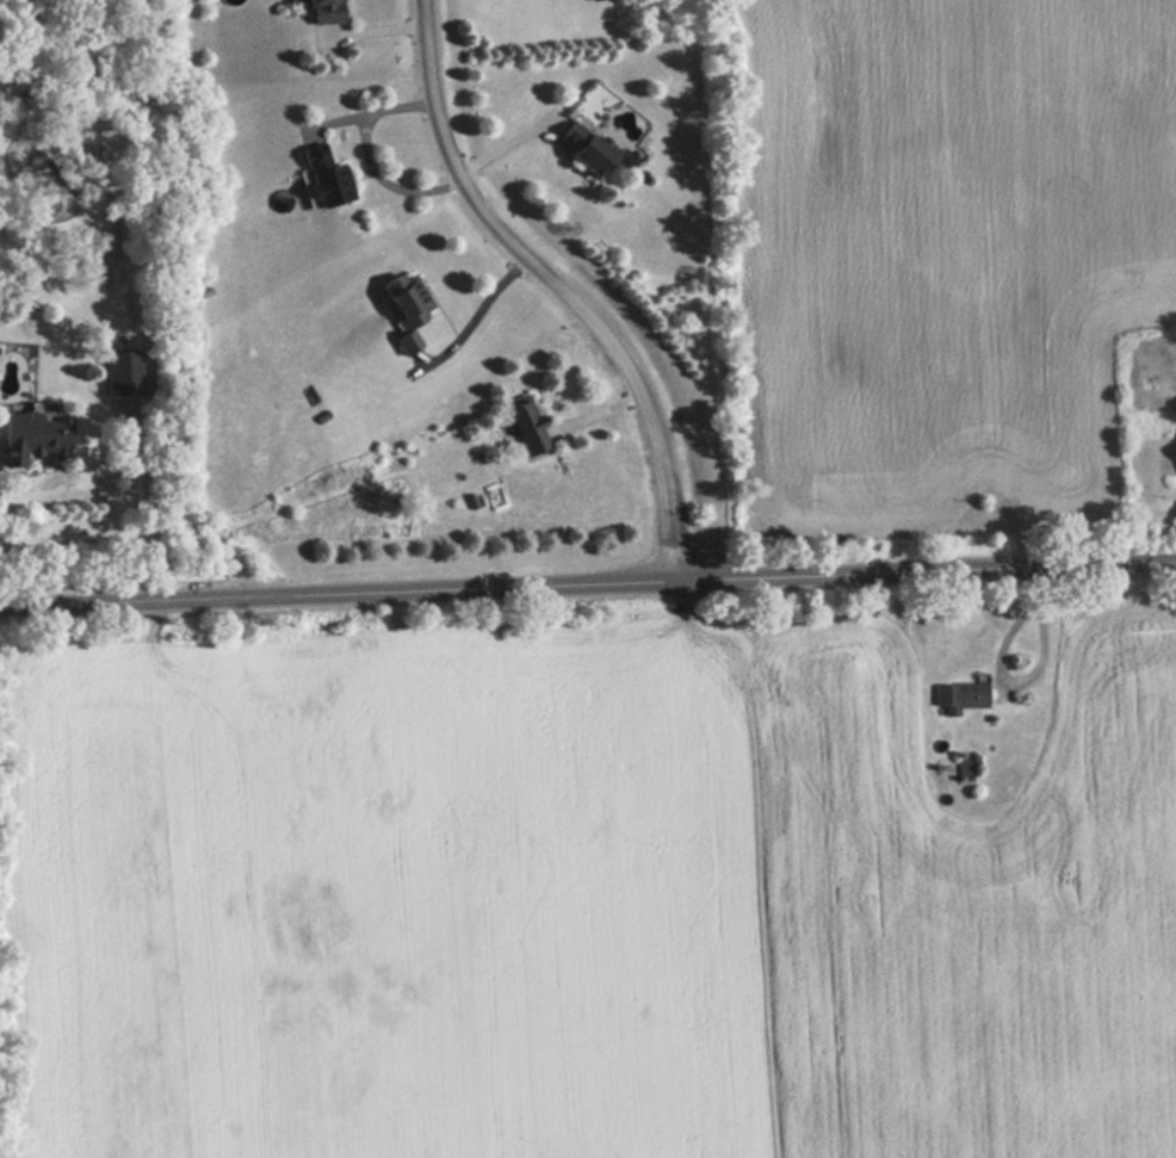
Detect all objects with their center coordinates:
building: (322, 10)
building: (584, 148)
road: (369, 160)
building: (323, 175)
road: (558, 283)
building: (408, 305)
road: (485, 306)
building: (125, 379)
building: (531, 427)
building: (31, 433)
road: (153, 512)
road: (587, 581)
road: (1028, 679)
building: (961, 694)
road: (701, 879)

